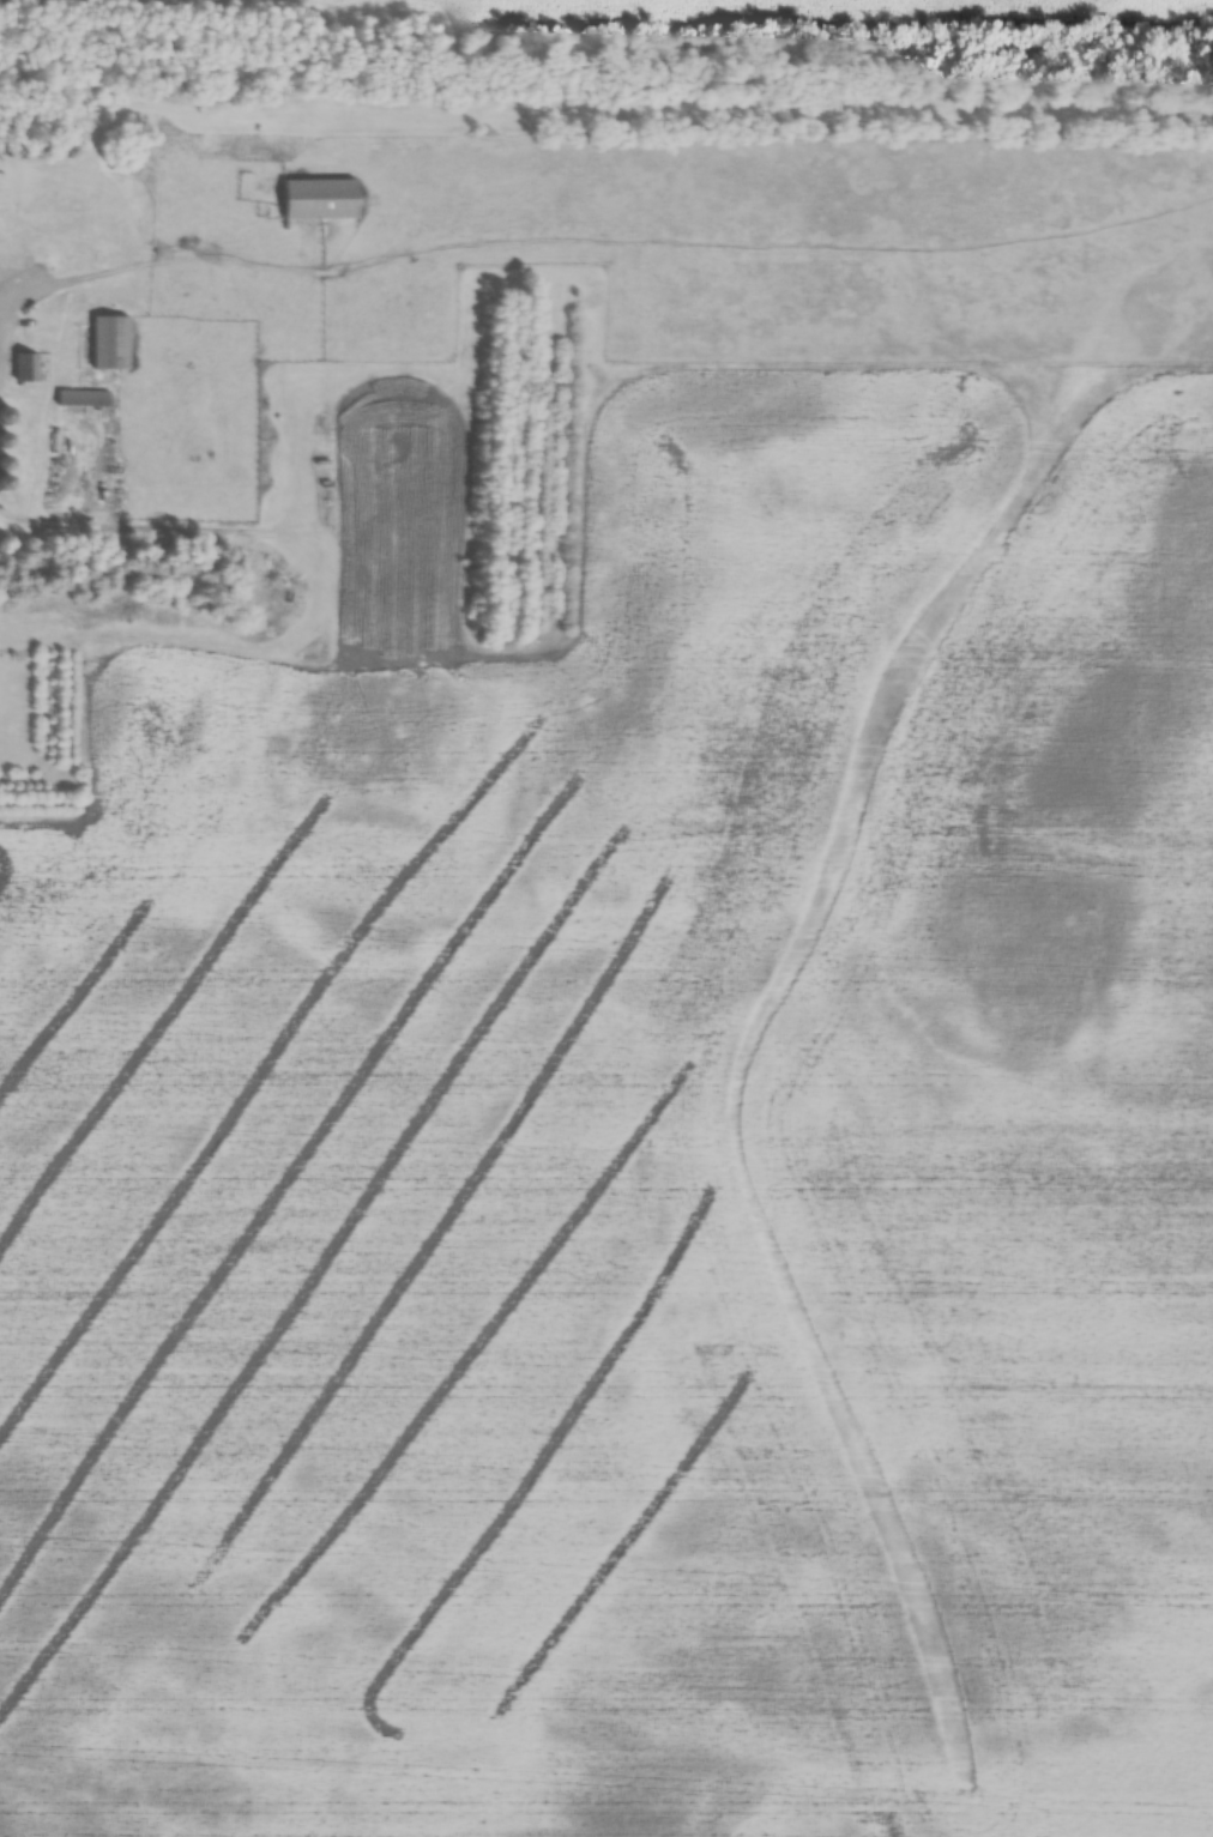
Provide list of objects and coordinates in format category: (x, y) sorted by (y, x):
building: (322, 200)
building: (113, 344)
building: (84, 399)

